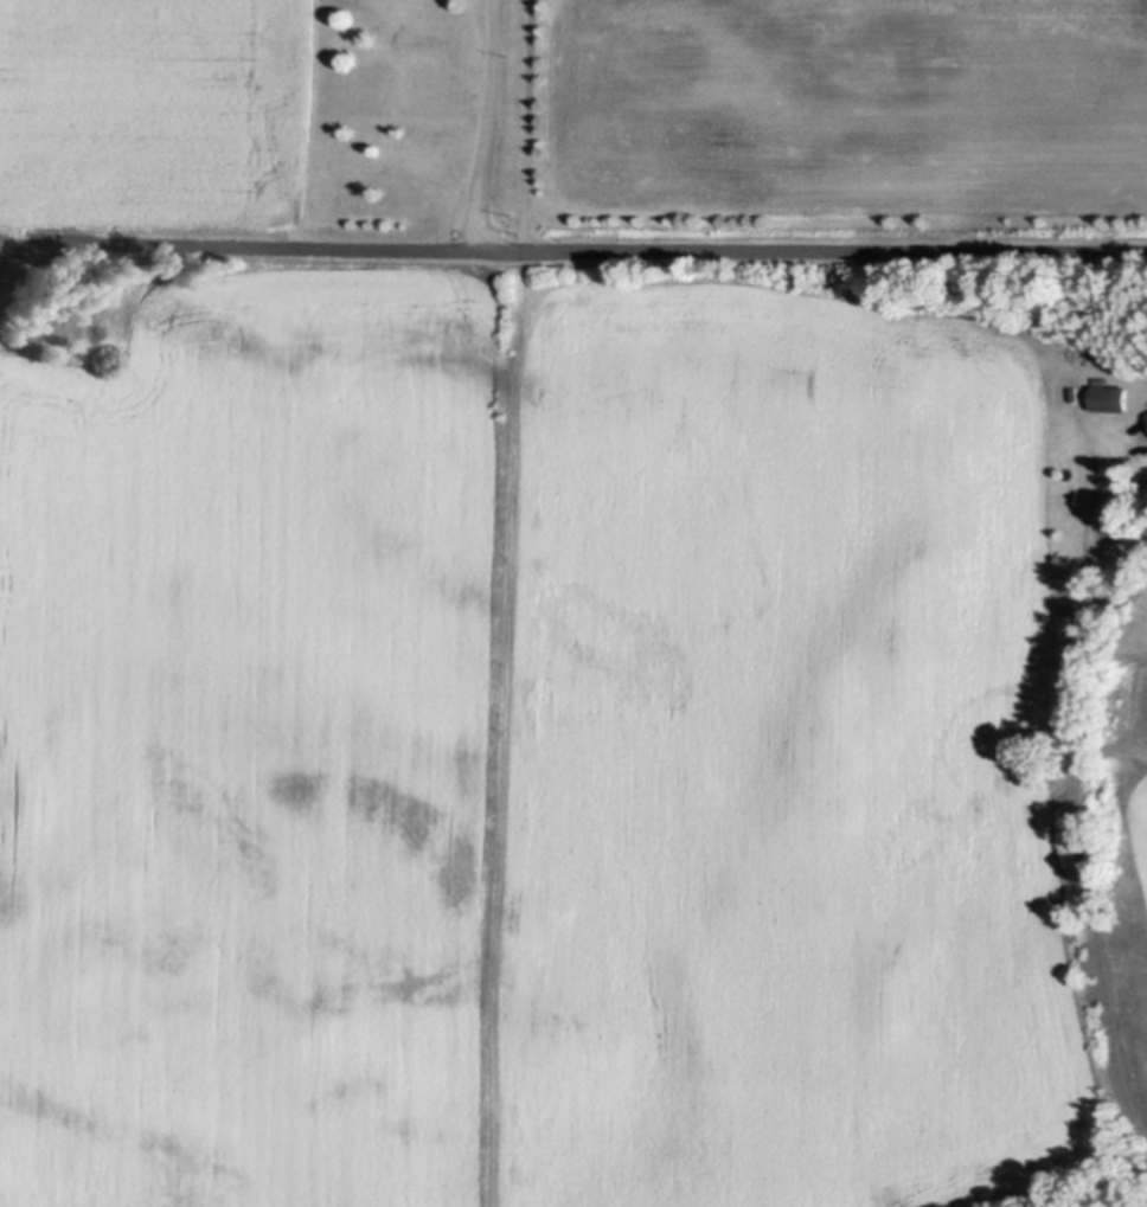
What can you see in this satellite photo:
road: (487, 122)
road: (623, 245)
building: (1089, 357)
building: (1102, 379)
building: (1076, 392)
building: (1111, 399)

